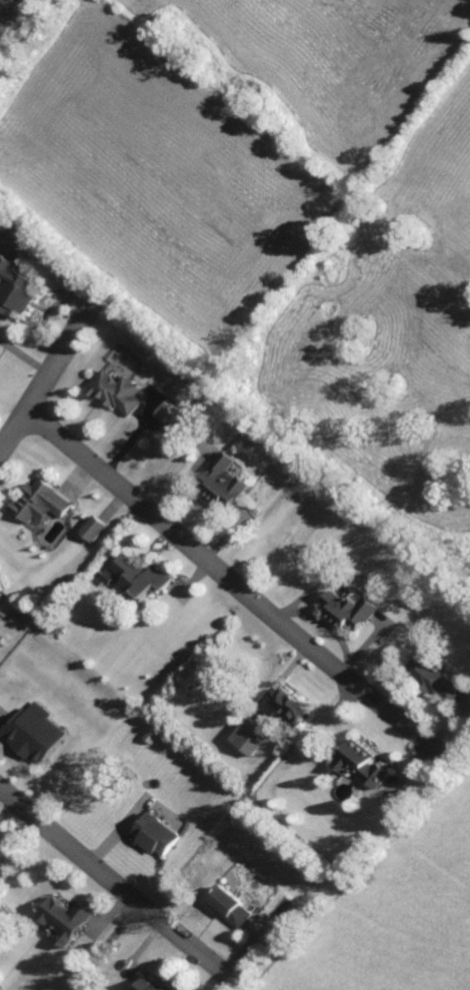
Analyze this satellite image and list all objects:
building: (16, 289)
road: (41, 383)
building: (113, 392)
building: (171, 417)
building: (221, 484)
building: (38, 502)
building: (91, 528)
building: (138, 577)
road: (227, 581)
building: (351, 609)
building: (438, 679)
building: (292, 706)
building: (32, 733)
building: (250, 735)
building: (360, 764)
building: (157, 835)
road: (110, 882)
building: (229, 906)
building: (65, 919)
building: (149, 984)

